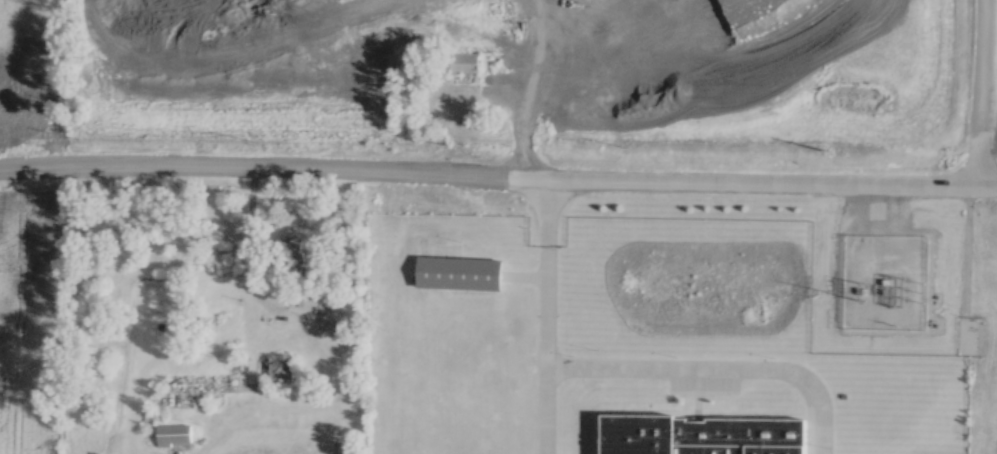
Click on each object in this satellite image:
building: (481, 61)
building: (524, 76)
road: (980, 91)
road: (253, 167)
road: (751, 177)
road: (250, 250)
road: (544, 268)
building: (459, 271)
power substation: (884, 279)
building: (478, 306)
building: (418, 319)
building: (419, 348)
building: (282, 366)
road: (714, 367)
road: (544, 409)
building: (175, 432)
building: (701, 434)

